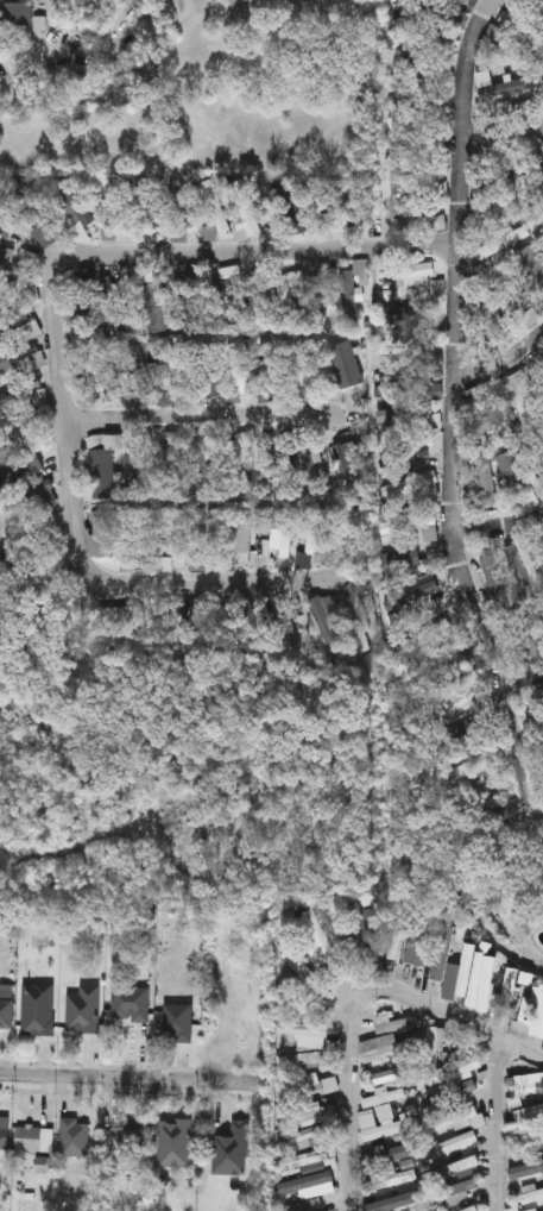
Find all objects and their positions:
building: (513, 4)
building: (539, 4)
building: (17, 13)
building: (520, 26)
building: (421, 46)
building: (541, 59)
road: (503, 137)
building: (285, 201)
building: (76, 203)
building: (182, 205)
building: (0, 208)
building: (214, 208)
building: (244, 208)
building: (416, 209)
building: (504, 209)
building: (505, 238)
road: (267, 255)
building: (6, 258)
building: (424, 268)
building: (436, 287)
building: (231, 293)
building: (259, 296)
building: (30, 297)
building: (320, 297)
building: (291, 299)
building: (188, 301)
building: (111, 302)
building: (78, 307)
building: (154, 307)
building: (492, 314)
building: (26, 325)
building: (346, 364)
road: (504, 365)
building: (139, 370)
building: (240, 372)
building: (538, 372)
building: (172, 374)
building: (209, 375)
building: (106, 378)
building: (409, 379)
building: (40, 396)
building: (164, 402)
road: (67, 408)
building: (392, 415)
road: (457, 415)
road: (206, 419)
building: (172, 451)
building: (539, 452)
building: (430, 462)
building: (277, 463)
building: (103, 464)
building: (240, 464)
building: (311, 466)
building: (202, 469)
building: (349, 469)
building: (138, 475)
building: (484, 479)
building: (42, 481)
building: (412, 529)
road: (498, 531)
building: (101, 534)
building: (144, 537)
building: (240, 537)
building: (182, 538)
building: (282, 538)
building: (315, 540)
building: (32, 545)
building: (165, 563)
building: (402, 563)
building: (523, 567)
building: (493, 582)
road: (202, 585)
building: (434, 600)
building: (200, 616)
building: (120, 617)
building: (356, 617)
building: (428, 635)
building: (529, 645)
road: (530, 685)
building: (456, 686)
building: (537, 714)
building: (474, 727)
building: (542, 765)
building: (479, 767)
building: (317, 931)
building: (394, 940)
building: (417, 946)
building: (442, 952)
building: (466, 968)
building: (308, 977)
building: (485, 984)
building: (509, 992)
road: (352, 1000)
building: (132, 1003)
building: (7, 1005)
building: (39, 1008)
building: (84, 1009)
building: (538, 1018)
building: (178, 1023)
building: (393, 1023)
building: (307, 1035)
building: (436, 1044)
building: (391, 1050)
building: (302, 1059)
building: (455, 1068)
building: (389, 1075)
road: (108, 1081)
building: (525, 1083)
building: (330, 1085)
building: (467, 1087)
building: (384, 1096)
building: (528, 1111)
building: (311, 1113)
road: (497, 1123)
building: (379, 1127)
building: (5, 1131)
building: (130, 1131)
building: (530, 1135)
building: (74, 1136)
building: (36, 1137)
building: (175, 1142)
building: (450, 1144)
building: (232, 1149)
building: (315, 1161)
building: (450, 1169)
building: (393, 1179)
building: (449, 1192)
building: (530, 1194)
building: (471, 1209)
building: (512, 1209)
building: (531, 1210)

